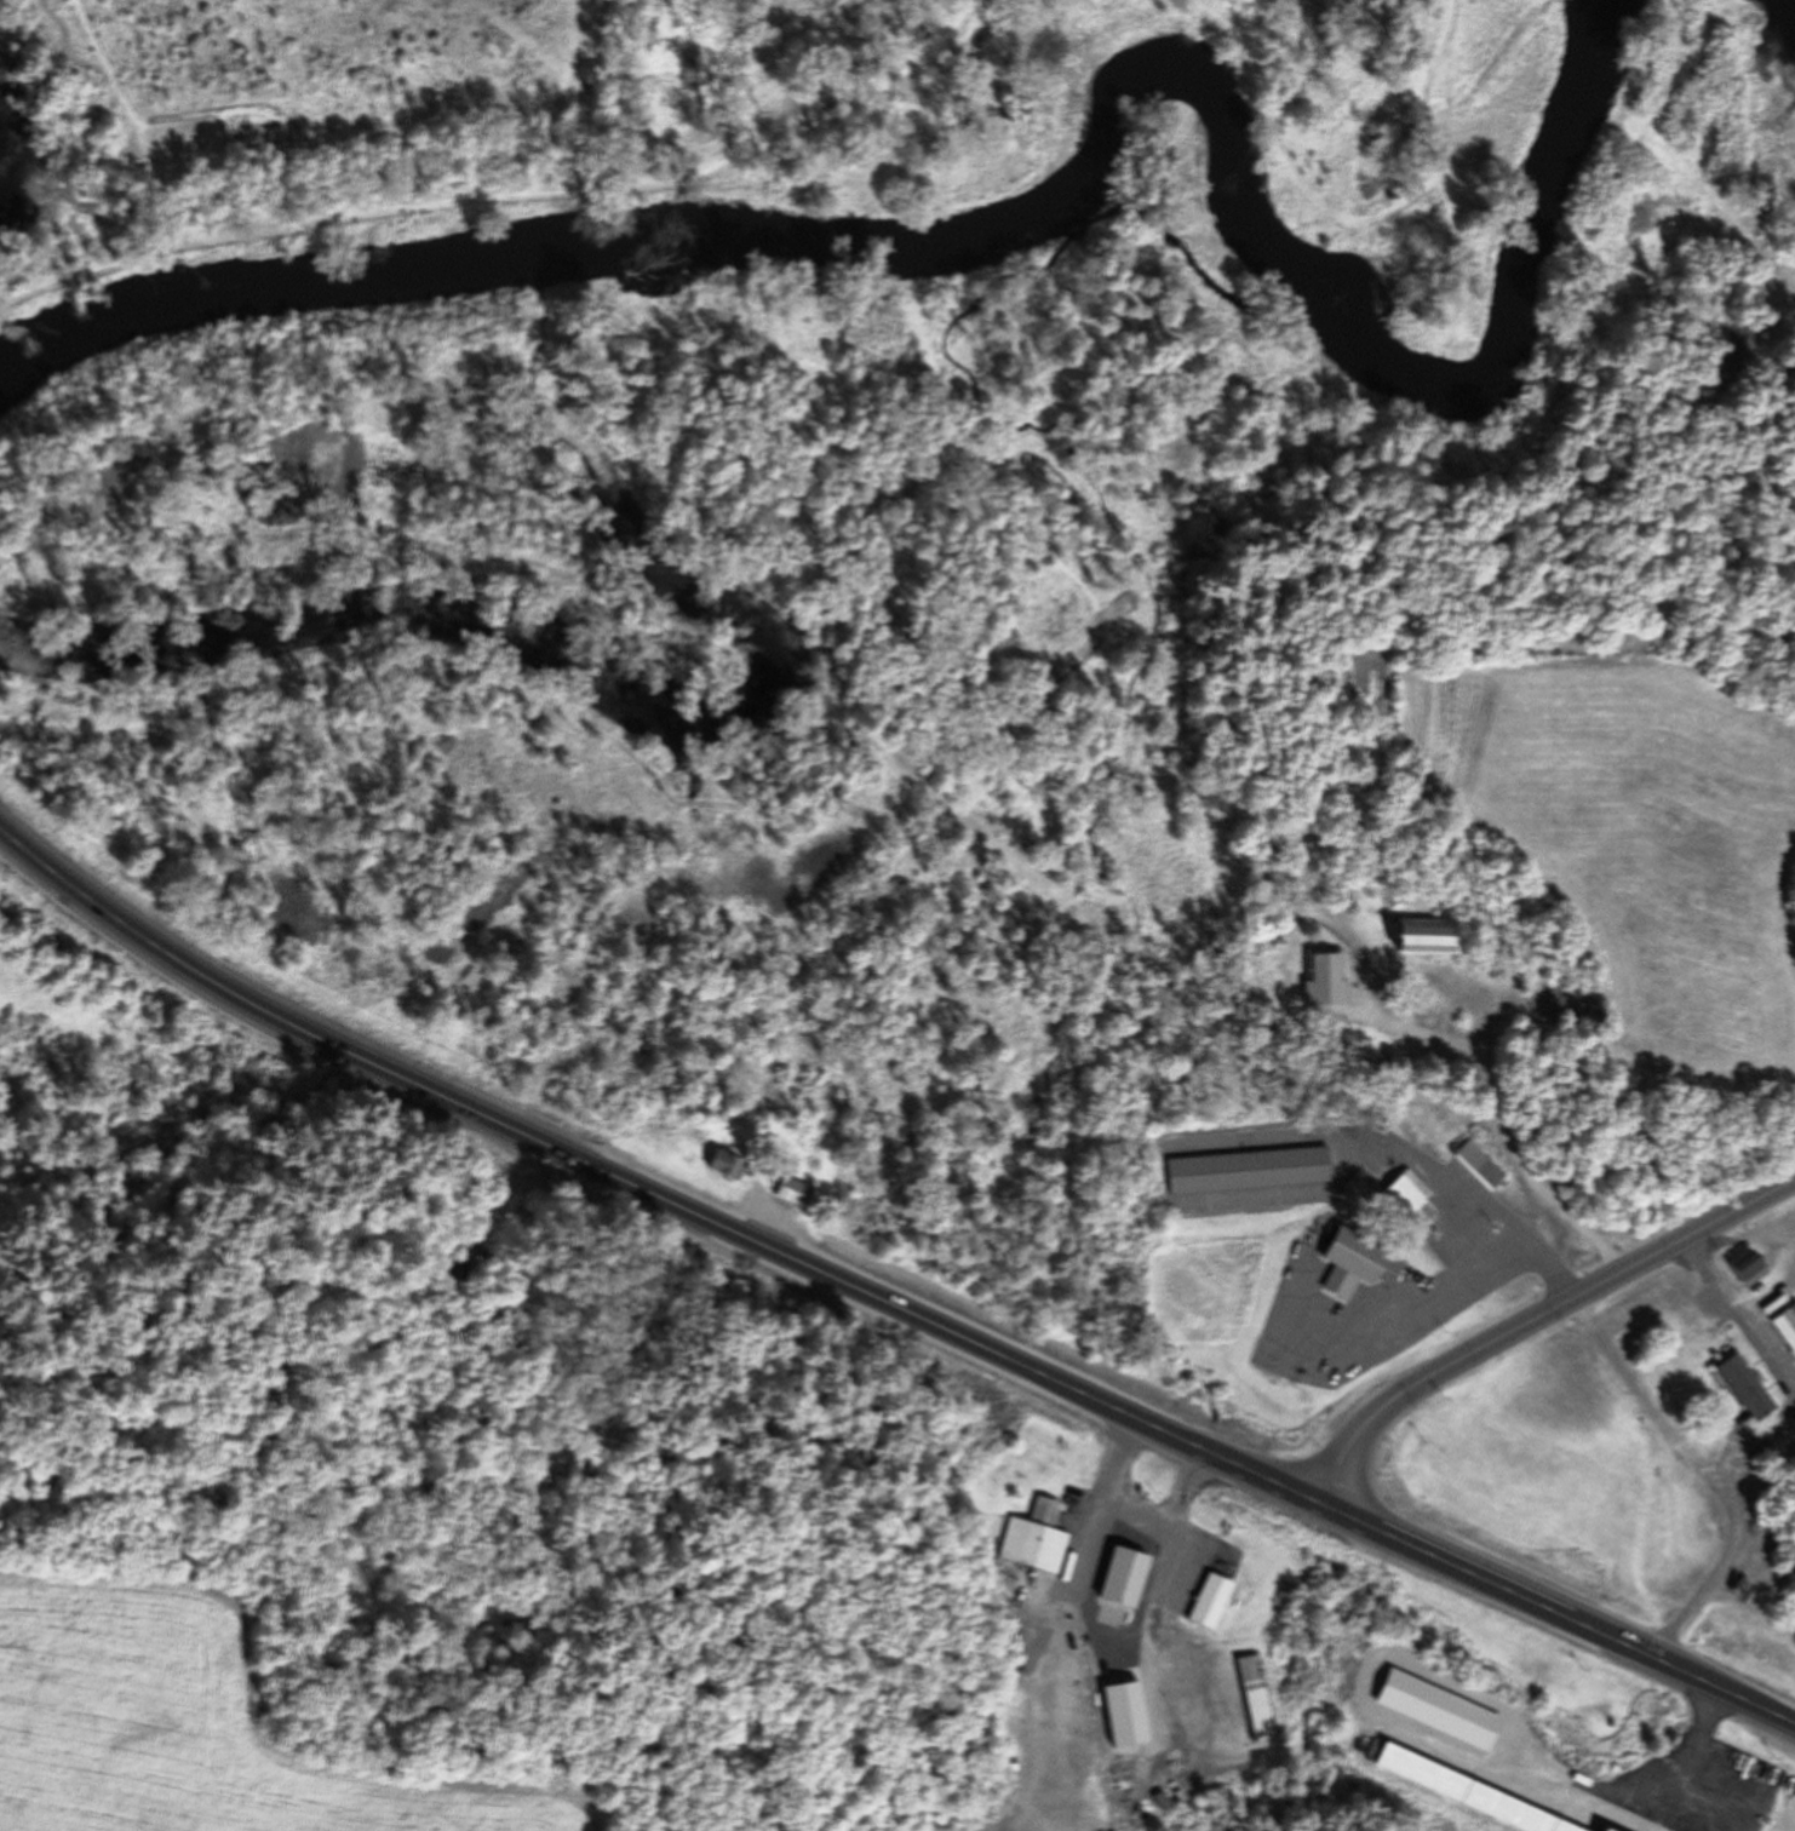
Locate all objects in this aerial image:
river: (1755, 23)
river: (1050, 199)
building: (1420, 937)
building: (1371, 986)
building: (1478, 1164)
building: (723, 1165)
building: (1245, 1170)
building: (791, 1187)
building: (1409, 1196)
building: (1353, 1262)
building: (1745, 1270)
road: (1446, 1279)
road: (883, 1299)
road: (1740, 1315)
road: (1538, 1319)
building: (1787, 1327)
building: (1743, 1387)
road: (1132, 1511)
road: (1731, 1534)
building: (1033, 1538)
building: (1119, 1575)
building: (1206, 1600)
building: (1254, 1697)
road: (1699, 1737)
building: (1737, 1777)

